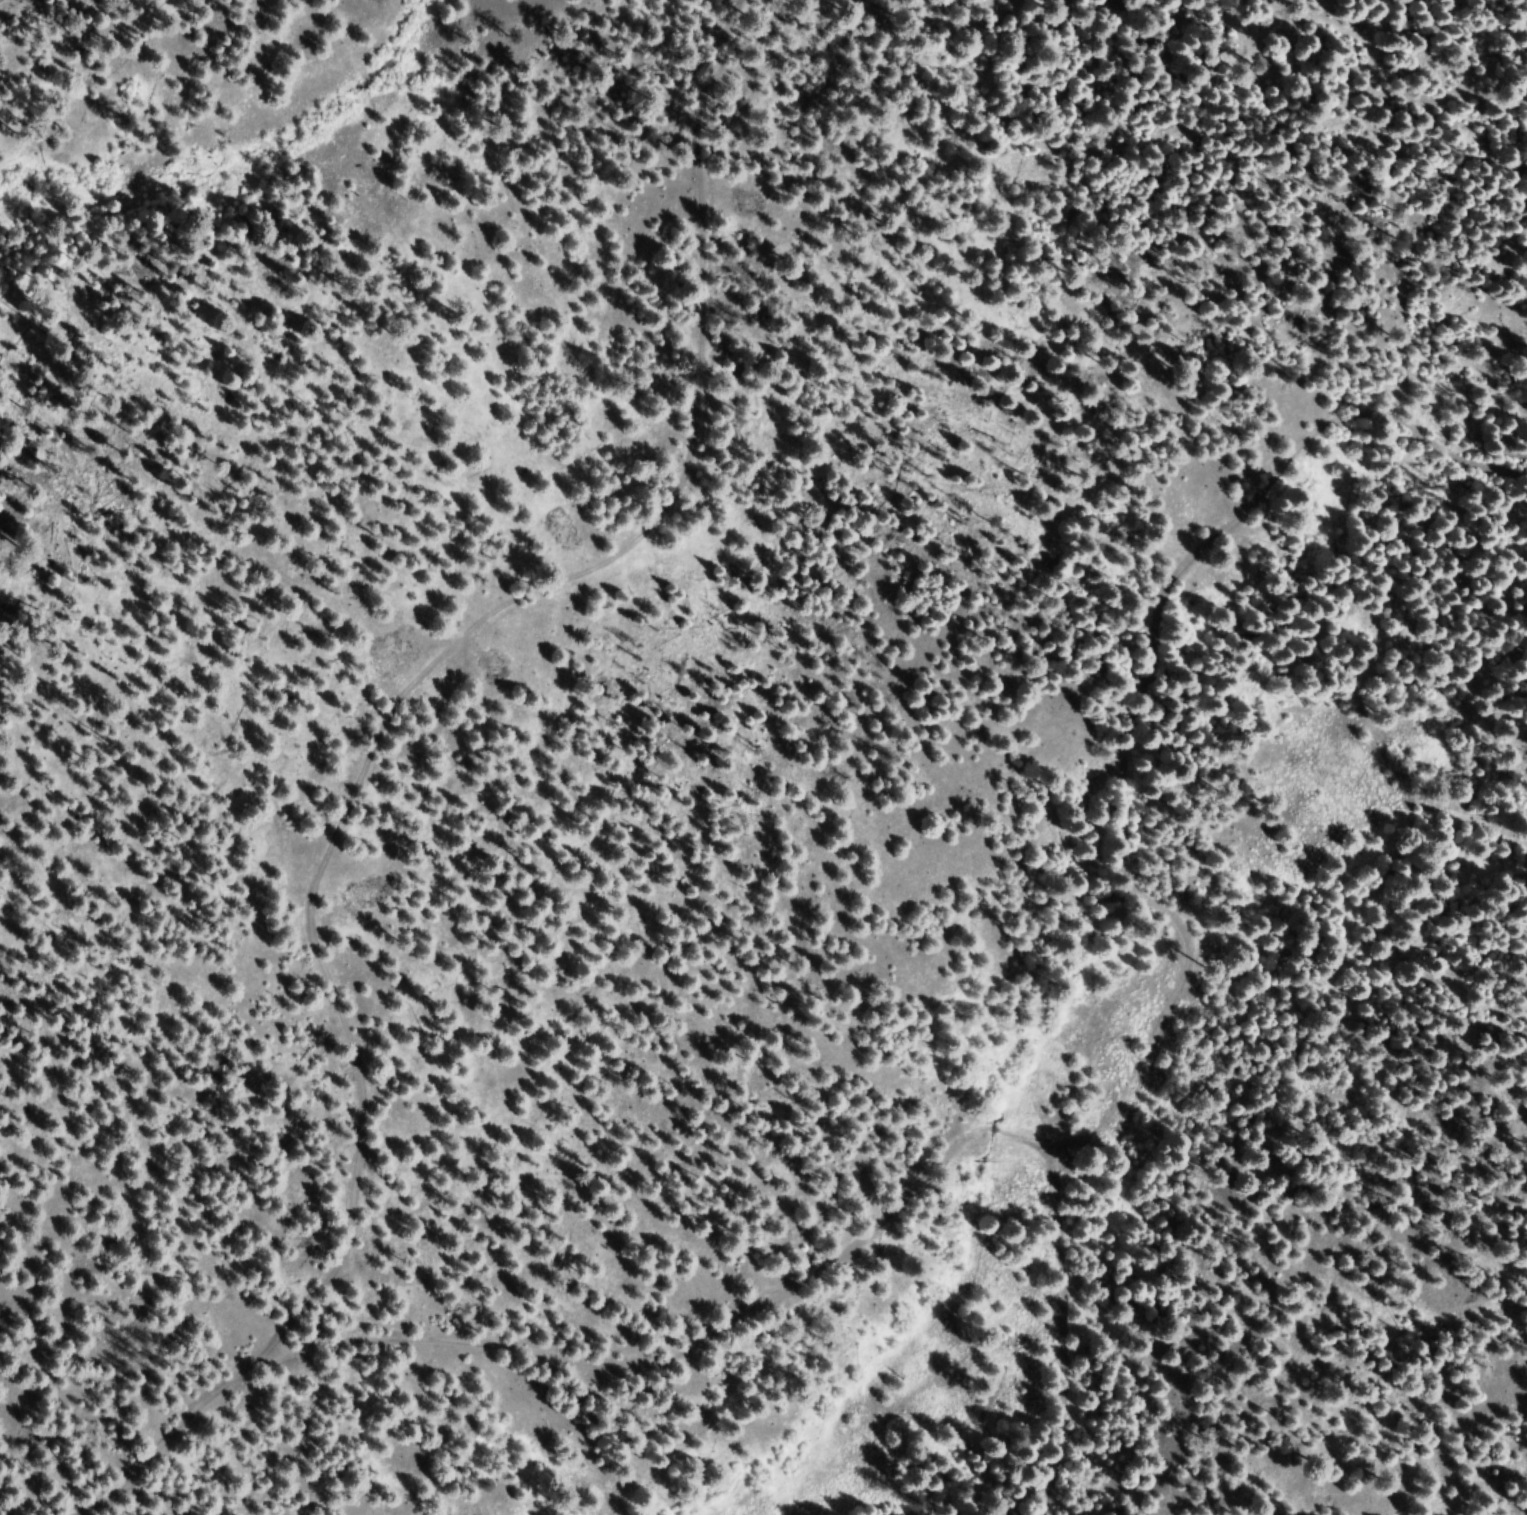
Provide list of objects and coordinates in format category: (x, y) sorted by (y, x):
road: (1144, 684)
road: (348, 764)
road: (826, 1263)

